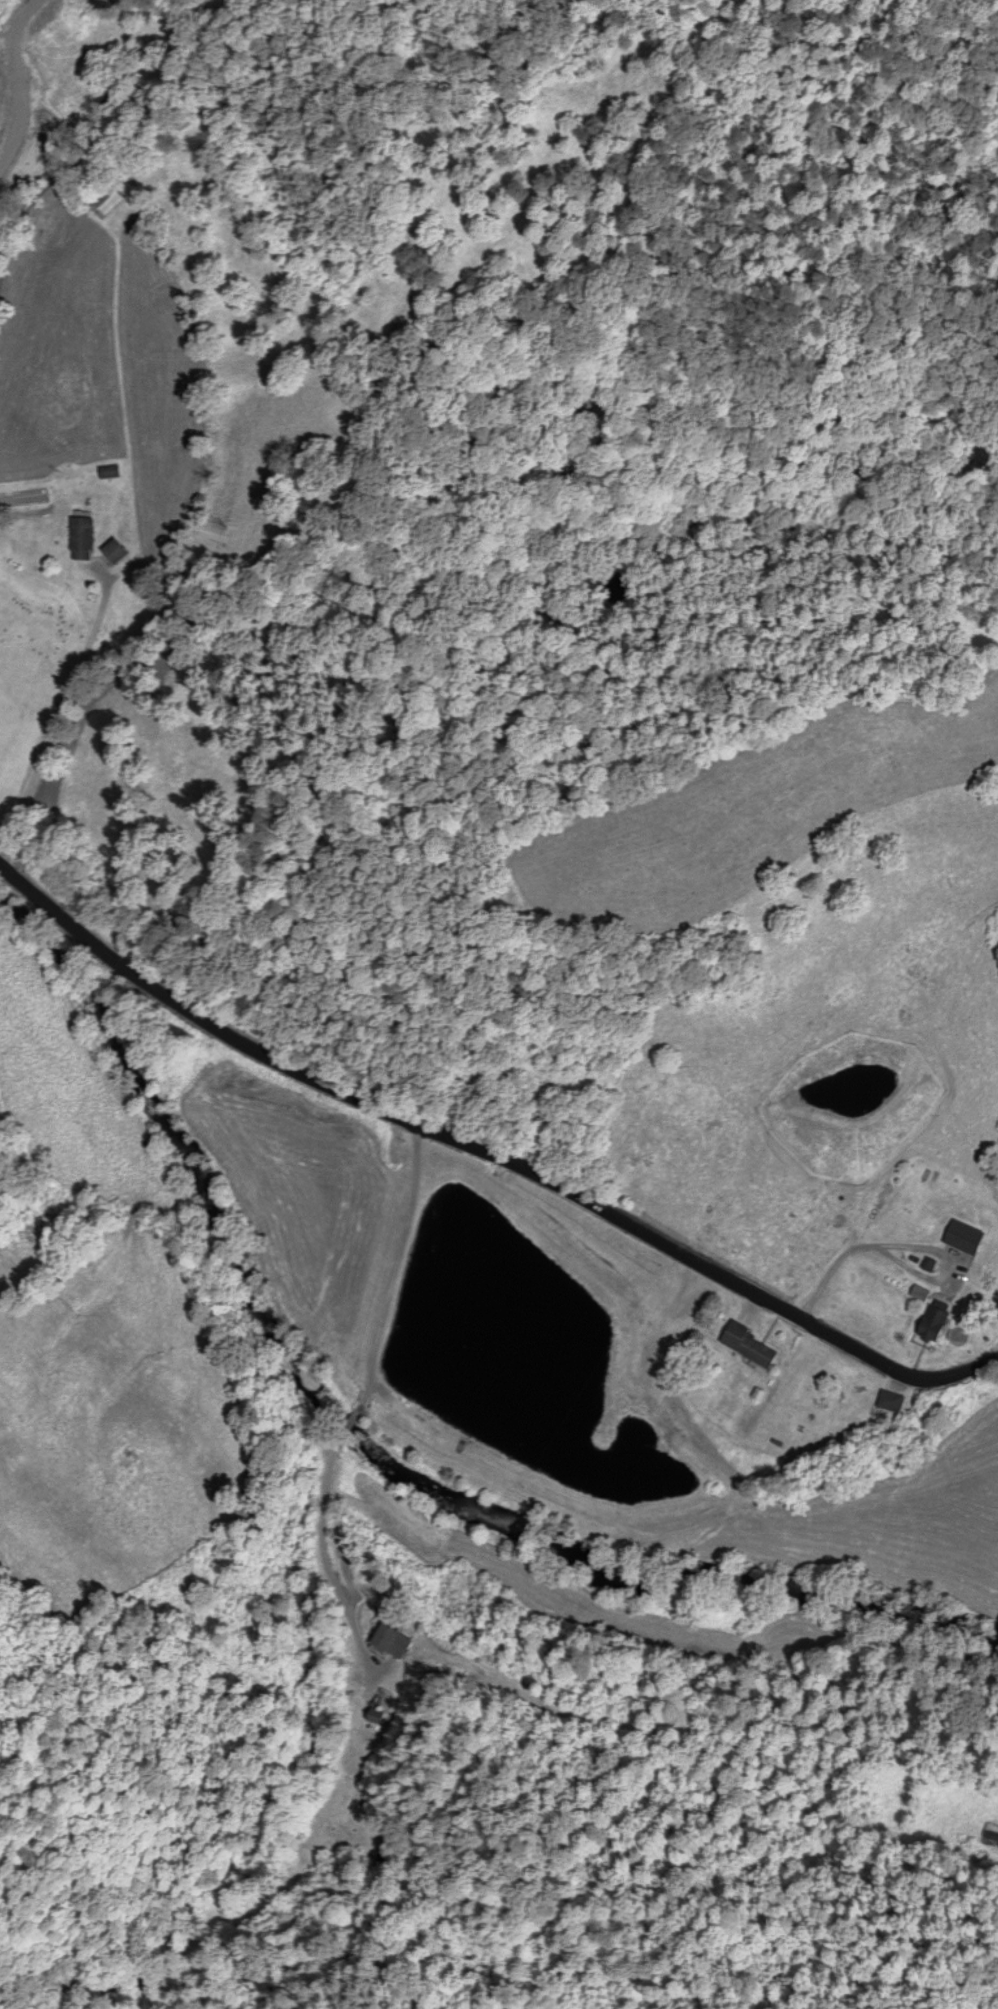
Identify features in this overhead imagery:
building: (107, 204)
building: (111, 473)
building: (82, 539)
building: (114, 553)
road: (81, 607)
road: (492, 1154)
building: (962, 1238)
building: (929, 1265)
building: (920, 1294)
building: (932, 1325)
building: (743, 1347)
building: (402, 1638)

